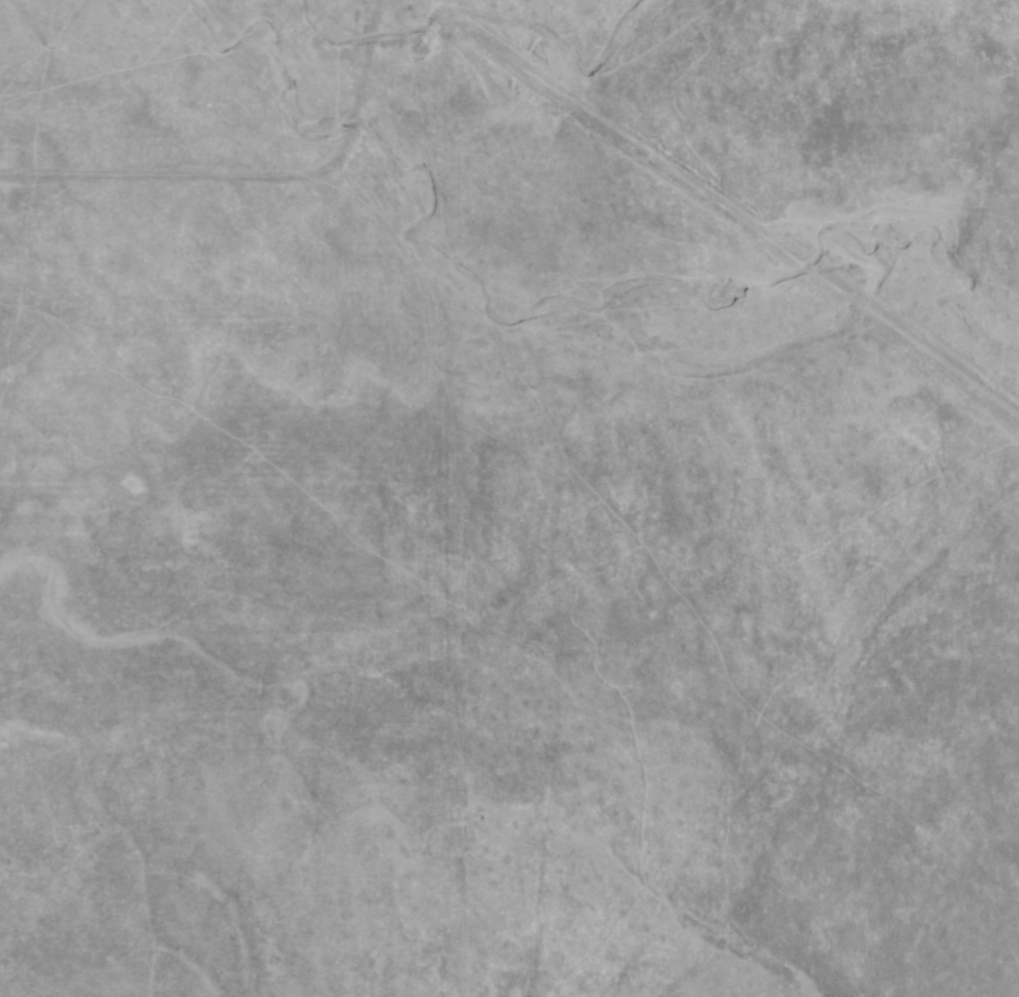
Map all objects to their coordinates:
road: (219, 176)
road: (724, 200)

